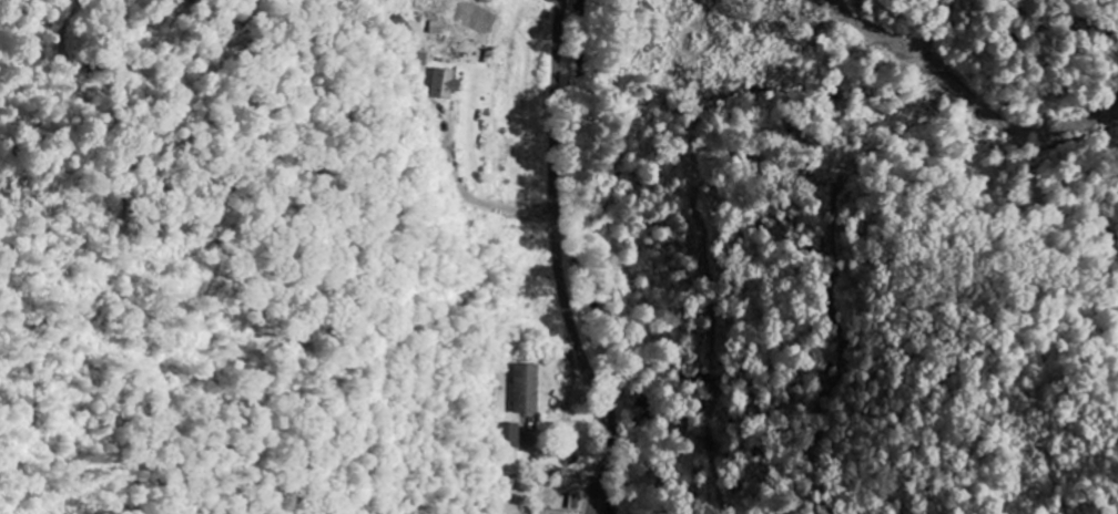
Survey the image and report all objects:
building: (439, 28)
building: (448, 84)
road: (560, 263)
building: (528, 389)
building: (514, 436)

